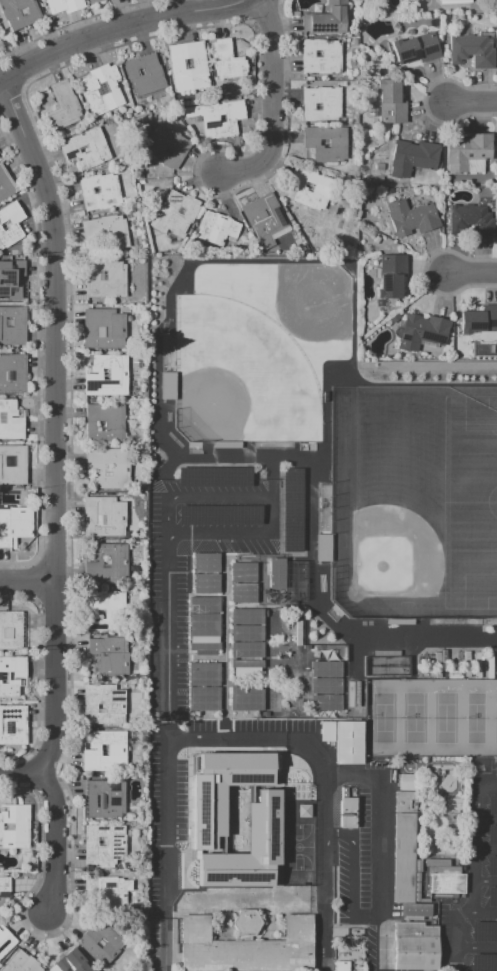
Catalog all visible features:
building: (454, 1)
building: (94, 2)
building: (65, 5)
building: (19, 13)
building: (327, 19)
road: (119, 30)
building: (415, 50)
building: (471, 52)
building: (321, 57)
building: (225, 62)
building: (188, 67)
building: (144, 76)
building: (101, 91)
road: (273, 102)
road: (474, 102)
building: (390, 103)
building: (322, 105)
building: (64, 106)
building: (219, 118)
building: (326, 144)
building: (89, 147)
building: (170, 147)
building: (468, 151)
building: (412, 157)
building: (5, 183)
building: (315, 187)
building: (103, 191)
building: (178, 214)
building: (410, 218)
building: (268, 219)
building: (471, 220)
building: (11, 226)
building: (110, 229)
building: (221, 231)
road: (474, 272)
building: (391, 276)
building: (14, 279)
building: (110, 279)
park: (299, 314)
building: (395, 319)
building: (478, 321)
building: (14, 325)
building: (107, 329)
building: (422, 333)
road: (434, 371)
building: (13, 373)
park: (239, 376)
building: (110, 377)
building: (168, 385)
building: (11, 421)
building: (108, 423)
road: (58, 424)
building: (227, 445)
building: (14, 465)
building: (113, 468)
building: (214, 477)
park: (424, 491)
road: (271, 497)
park: (470, 502)
building: (293, 510)
building: (220, 515)
building: (107, 517)
building: (16, 525)
building: (323, 547)
building: (110, 563)
building: (206, 563)
building: (243, 572)
building: (276, 573)
road: (29, 580)
building: (206, 583)
building: (243, 593)
road: (252, 606)
building: (109, 612)
building: (400, 620)
building: (261, 624)
building: (204, 625)
building: (12, 632)
road: (226, 641)
building: (246, 649)
building: (114, 656)
road: (196, 658)
building: (386, 663)
building: (246, 667)
building: (203, 674)
building: (13, 676)
building: (325, 685)
building: (203, 699)
building: (246, 699)
building: (104, 705)
park: (430, 716)
building: (12, 726)
road: (167, 726)
building: (328, 731)
parking lot: (228, 736)
building: (349, 742)
building: (105, 751)
building: (494, 767)
road: (366, 771)
road: (19, 777)
building: (221, 790)
building: (105, 799)
building: (492, 804)
building: (348, 813)
road: (485, 821)
building: (14, 826)
road: (346, 829)
building: (491, 835)
road: (473, 837)
road: (53, 842)
building: (103, 844)
building: (247, 848)
building: (406, 849)
park: (292, 850)
parking lot: (369, 851)
road: (485, 851)
building: (491, 865)
road: (323, 870)
building: (350, 874)
parking lot: (473, 878)
building: (447, 883)
road: (484, 884)
building: (4, 888)
building: (107, 891)
building: (491, 897)
road: (484, 913)
road: (472, 928)
building: (483, 931)
road: (457, 935)
building: (5, 942)
building: (101, 943)
road: (165, 945)
building: (245, 945)
building: (414, 945)
road: (477, 947)
building: (20, 963)
building: (70, 963)
building: (483, 963)
building: (340, 966)

